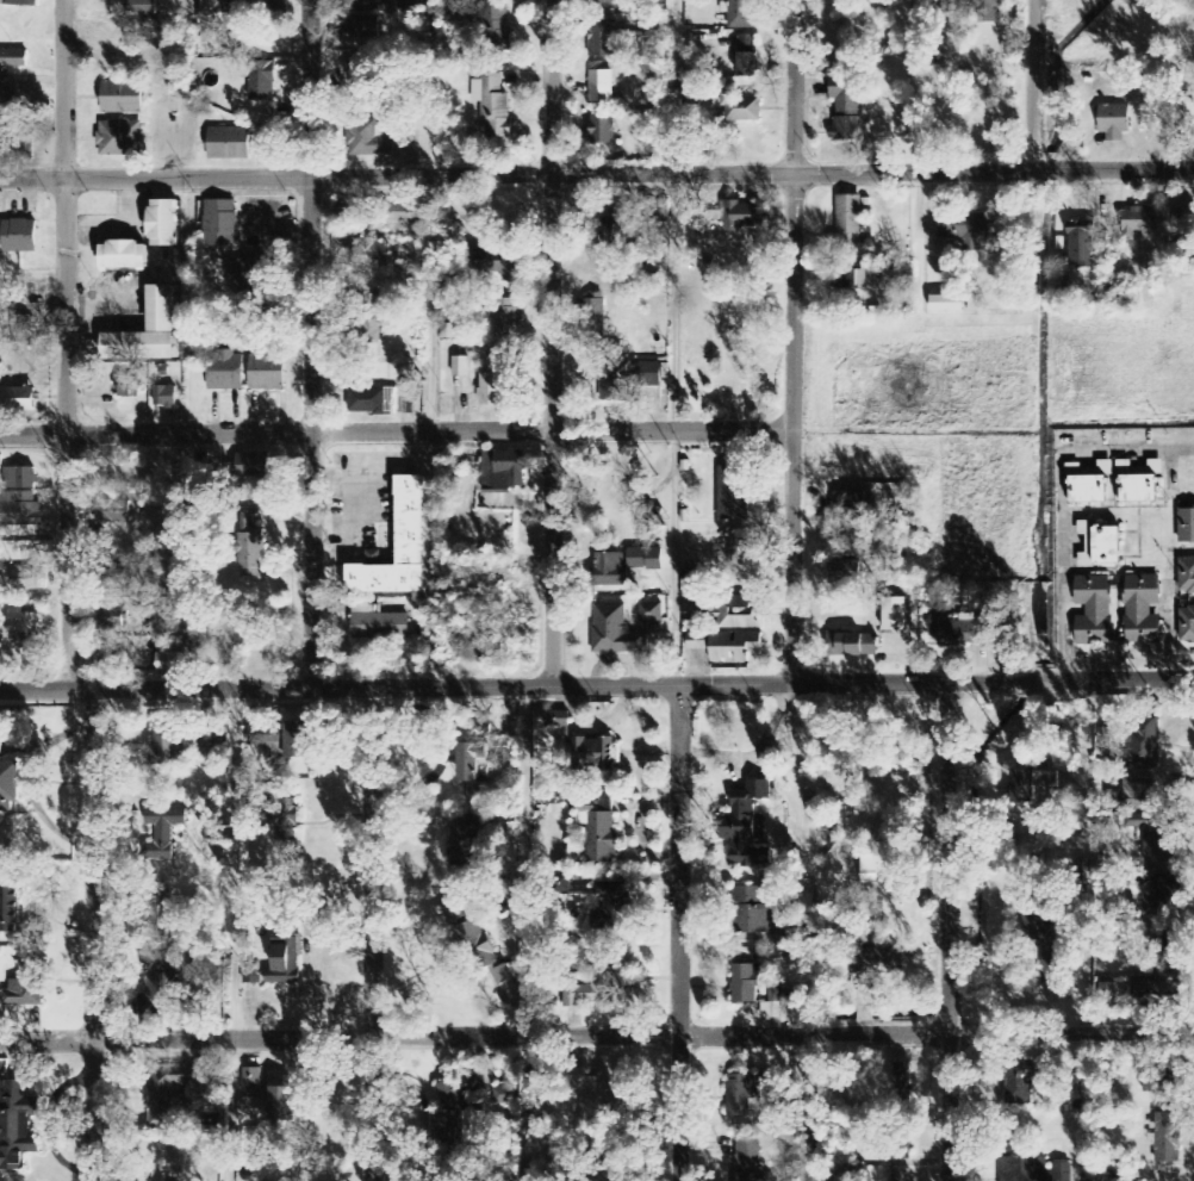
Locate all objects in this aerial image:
building: (20, 4)
building: (363, 6)
building: (608, 6)
building: (142, 7)
building: (272, 7)
building: (976, 8)
building: (219, 12)
building: (744, 15)
building: (495, 26)
building: (361, 29)
building: (603, 38)
building: (747, 57)
building: (13, 58)
building: (362, 75)
building: (262, 81)
road: (1032, 85)
building: (601, 87)
building: (7, 95)
building: (122, 98)
building: (493, 106)
building: (740, 108)
building: (848, 113)
building: (1114, 123)
building: (602, 130)
building: (120, 138)
building: (372, 141)
building: (229, 144)
road: (597, 173)
building: (353, 209)
building: (402, 216)
road: (430, 217)
building: (742, 217)
building: (1137, 222)
building: (162, 223)
building: (219, 223)
building: (850, 228)
building: (972, 228)
building: (614, 234)
building: (19, 236)
building: (1082, 245)
building: (373, 251)
building: (123, 255)
building: (247, 273)
building: (857, 276)
building: (946, 305)
building: (161, 309)
building: (592, 317)
building: (506, 318)
building: (366, 329)
building: (23, 330)
road: (68, 342)
road: (312, 342)
road: (554, 342)
road: (790, 342)
building: (461, 367)
building: (267, 371)
building: (225, 372)
building: (629, 379)
building: (128, 387)
building: (492, 390)
building: (164, 397)
building: (18, 399)
road: (394, 434)
building: (0, 461)
building: (253, 466)
building: (503, 471)
building: (20, 478)
building: (733, 489)
building: (1089, 489)
building: (1139, 489)
building: (848, 503)
building: (20, 510)
building: (1186, 526)
building: (1100, 546)
building: (398, 548)
building: (253, 551)
building: (645, 559)
building: (610, 570)
building: (846, 572)
building: (1187, 576)
building: (1143, 610)
building: (1094, 611)
building: (652, 613)
building: (740, 614)
building: (894, 615)
building: (112, 617)
building: (21, 622)
building: (378, 623)
building: (1187, 624)
building: (616, 632)
building: (851, 646)
building: (733, 647)
building: (169, 664)
road: (597, 685)
building: (558, 720)
building: (480, 732)
building: (257, 736)
building: (194, 740)
building: (298, 740)
building: (1144, 744)
building: (1, 746)
building: (164, 747)
building: (596, 754)
building: (472, 764)
building: (10, 787)
building: (1022, 788)
building: (1140, 795)
building: (284, 815)
building: (747, 826)
building: (601, 831)
building: (163, 833)
building: (1150, 839)
building: (467, 843)
building: (1161, 895)
building: (504, 903)
building: (611, 908)
building: (10, 910)
building: (752, 910)
road: (95, 932)
road: (950, 932)
road: (377, 933)
road: (679, 933)
building: (480, 950)
building: (1164, 955)
building: (877, 957)
building: (279, 965)
building: (745, 984)
building: (26, 986)
building: (158, 986)
building: (598, 987)
building: (1156, 995)
road: (597, 1037)
building: (1161, 1079)
building: (1027, 1081)
building: (253, 1082)
building: (900, 1082)
building: (458, 1087)
building: (172, 1092)
building: (746, 1093)
building: (598, 1099)
building: (285, 1104)
building: (253, 1109)
building: (15, 1125)
building: (474, 1126)
building: (446, 1129)
building: (1168, 1138)
building: (747, 1161)
building: (1033, 1170)

